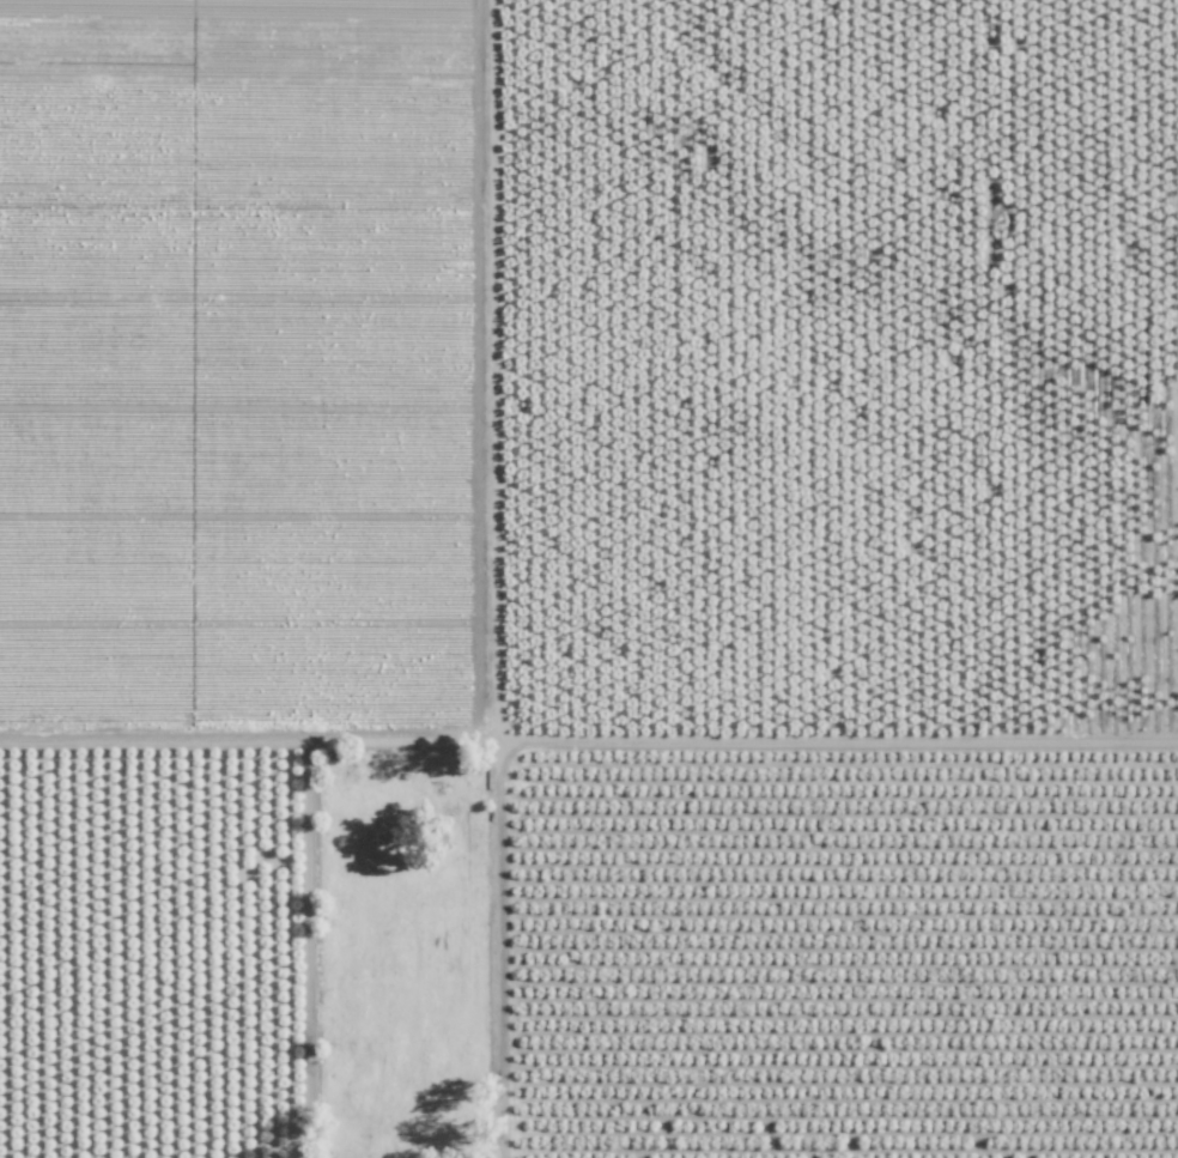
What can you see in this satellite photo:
crop: (668, 368)
crop: (1015, 370)
crop: (836, 948)

